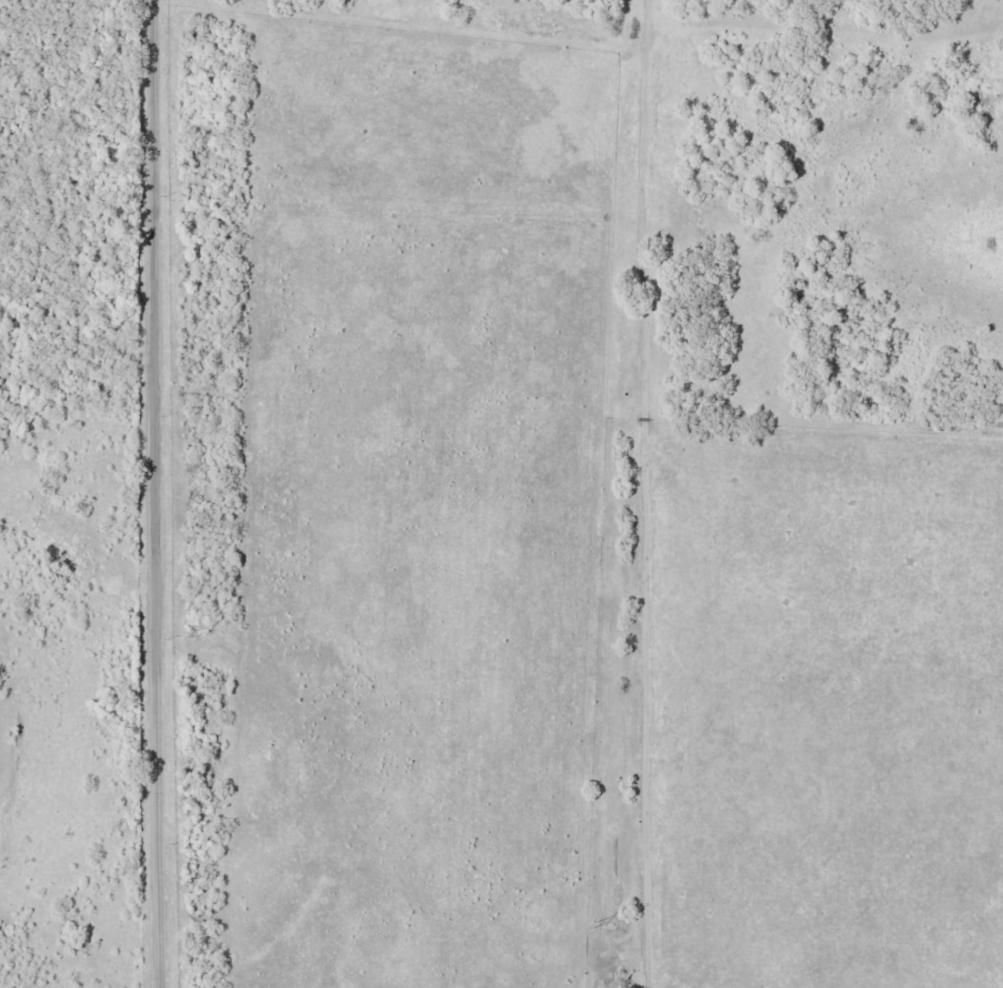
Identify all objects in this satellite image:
road: (160, 494)
power tower: (209, 636)
power tower: (608, 928)

